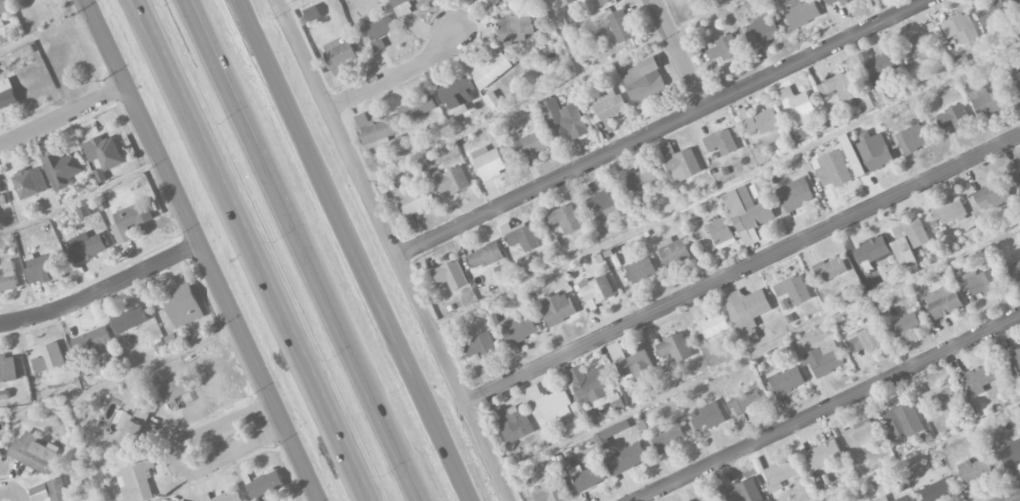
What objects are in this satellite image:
building: (493, 1)
building: (566, 2)
building: (605, 2)
building: (845, 2)
building: (402, 8)
building: (3, 10)
building: (997, 11)
building: (802, 12)
road: (146, 19)
road: (150, 19)
building: (621, 26)
building: (960, 28)
building: (514, 29)
building: (379, 30)
building: (763, 31)
building: (920, 47)
building: (725, 48)
road: (679, 54)
building: (341, 55)
building: (879, 67)
building: (490, 70)
road: (397, 75)
building: (645, 81)
building: (1019, 81)
building: (841, 86)
building: (7, 94)
building: (457, 94)
building: (990, 99)
building: (607, 105)
building: (797, 105)
building: (417, 107)
building: (954, 117)
road: (63, 118)
building: (564, 119)
road: (663, 128)
building: (375, 129)
building: (912, 139)
building: (722, 142)
building: (532, 143)
building: (48, 148)
building: (104, 152)
building: (867, 152)
building: (488, 163)
building: (683, 165)
building: (63, 169)
building: (833, 169)
building: (1017, 177)
building: (643, 178)
building: (450, 181)
building: (30, 182)
building: (795, 194)
building: (992, 194)
building: (1, 197)
building: (412, 199)
building: (608, 200)
building: (950, 212)
building: (748, 213)
building: (565, 219)
building: (131, 220)
building: (720, 231)
building: (522, 236)
building: (910, 241)
building: (86, 246)
road: (307, 250)
road: (356, 250)
road: (394, 250)
building: (872, 250)
road: (200, 251)
building: (673, 251)
building: (485, 255)
building: (43, 266)
road: (264, 269)
building: (830, 269)
building: (641, 270)
building: (1015, 270)
road: (742, 271)
building: (451, 275)
building: (8, 277)
building: (984, 283)
building: (794, 289)
building: (597, 290)
road: (101, 291)
building: (944, 301)
building: (786, 304)
building: (184, 306)
building: (558, 308)
building: (747, 308)
building: (130, 319)
building: (905, 325)
building: (712, 326)
building: (176, 339)
building: (865, 339)
building: (92, 340)
building: (482, 345)
building: (675, 347)
building: (1015, 357)
building: (49, 358)
building: (823, 359)
building: (631, 362)
building: (8, 368)
building: (980, 379)
building: (787, 381)
building: (594, 387)
building: (175, 389)
building: (941, 397)
building: (746, 401)
building: (548, 404)
road: (829, 409)
building: (708, 416)
building: (904, 420)
building: (515, 424)
building: (132, 427)
building: (574, 427)
building: (860, 433)
building: (610, 434)
building: (669, 439)
building: (34, 452)
building: (1010, 452)
building: (0, 453)
building: (824, 454)
building: (626, 459)
road: (174, 463)
building: (972, 472)
building: (781, 474)
building: (587, 477)
building: (138, 482)
building: (265, 485)
road: (13, 489)
building: (938, 489)
building: (50, 491)
building: (549, 491)
building: (745, 491)
building: (224, 496)
road: (1015, 498)
building: (715, 499)
building: (882, 499)
building: (902, 499)

